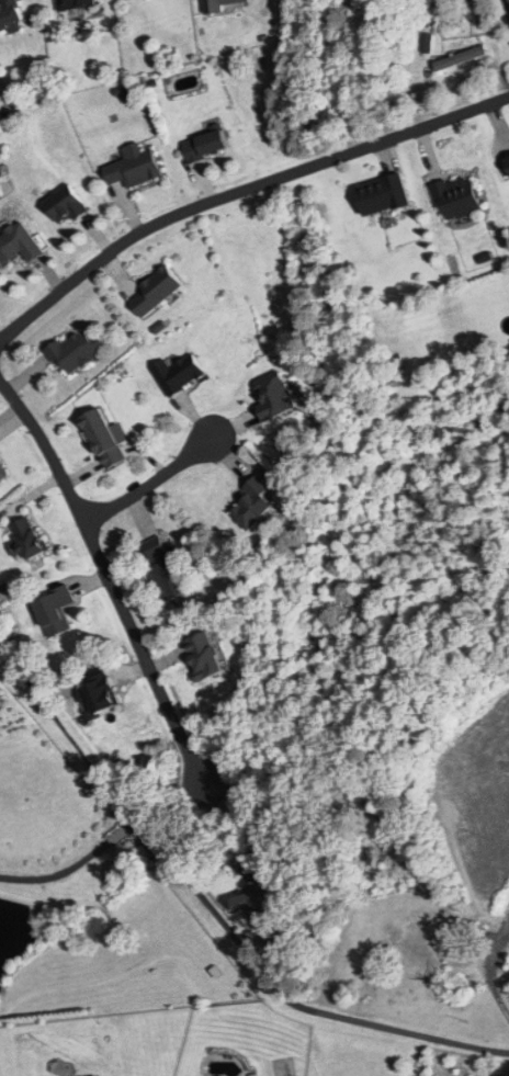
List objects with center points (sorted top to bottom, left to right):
building: (72, 3)
building: (224, 3)
road: (506, 5)
building: (8, 14)
building: (459, 58)
building: (205, 145)
building: (134, 168)
road: (240, 192)
building: (381, 194)
building: (456, 196)
building: (66, 205)
building: (19, 245)
building: (154, 291)
building: (75, 351)
building: (179, 374)
building: (273, 394)
building: (105, 440)
building: (2, 475)
road: (159, 478)
building: (255, 503)
building: (26, 540)
building: (165, 569)
road: (113, 589)
building: (54, 612)
building: (202, 656)
building: (102, 696)
road: (72, 865)
building: (255, 905)
road: (213, 911)
building: (444, 944)

